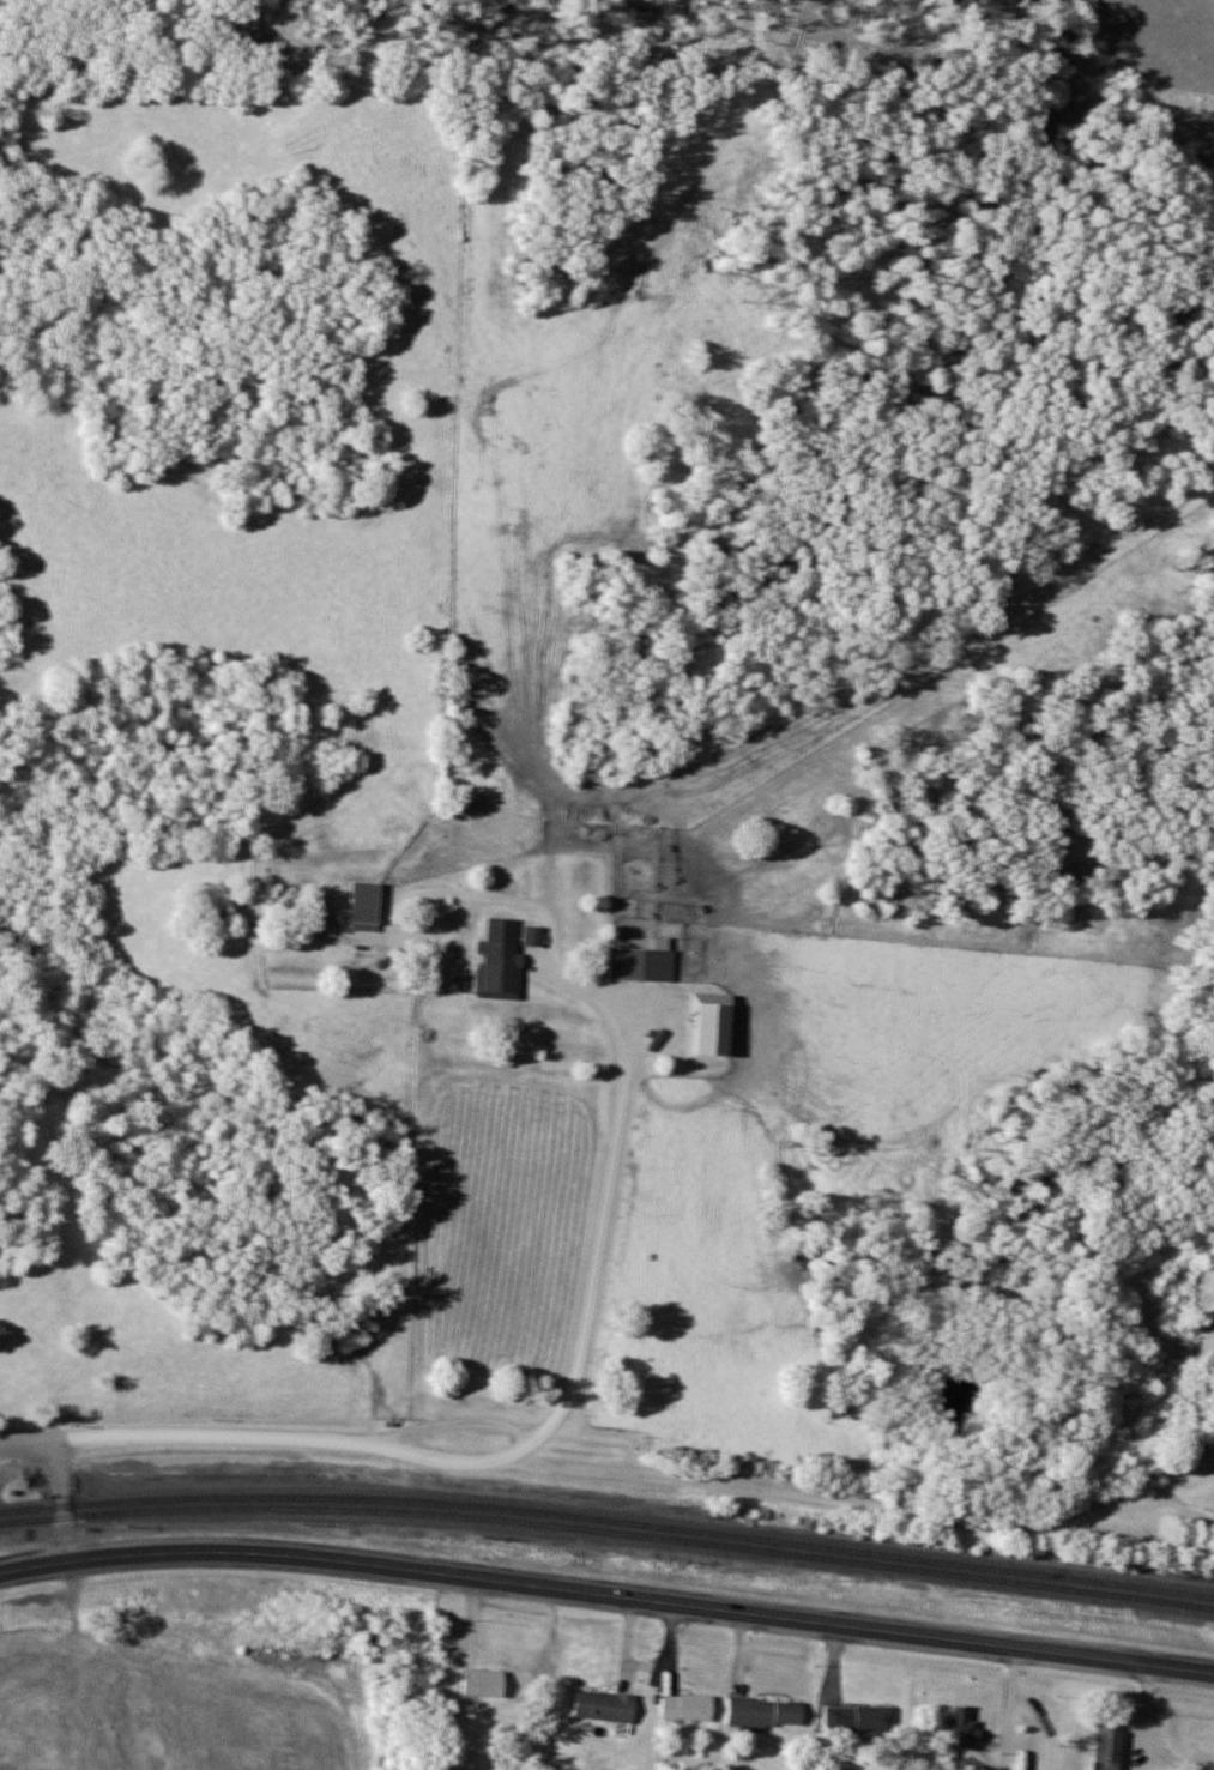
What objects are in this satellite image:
building: (367, 907)
building: (534, 936)
building: (502, 944)
building: (645, 962)
road: (599, 1245)
road: (612, 1474)
road: (64, 1504)
railway: (608, 1520)
railway: (608, 1532)
road: (606, 1596)
building: (484, 1683)
building: (600, 1705)
building: (687, 1706)
road: (997, 1708)
building: (766, 1712)
building: (860, 1718)
road: (1022, 1720)
road: (1135, 1723)
building: (962, 1729)
building: (1111, 1745)

